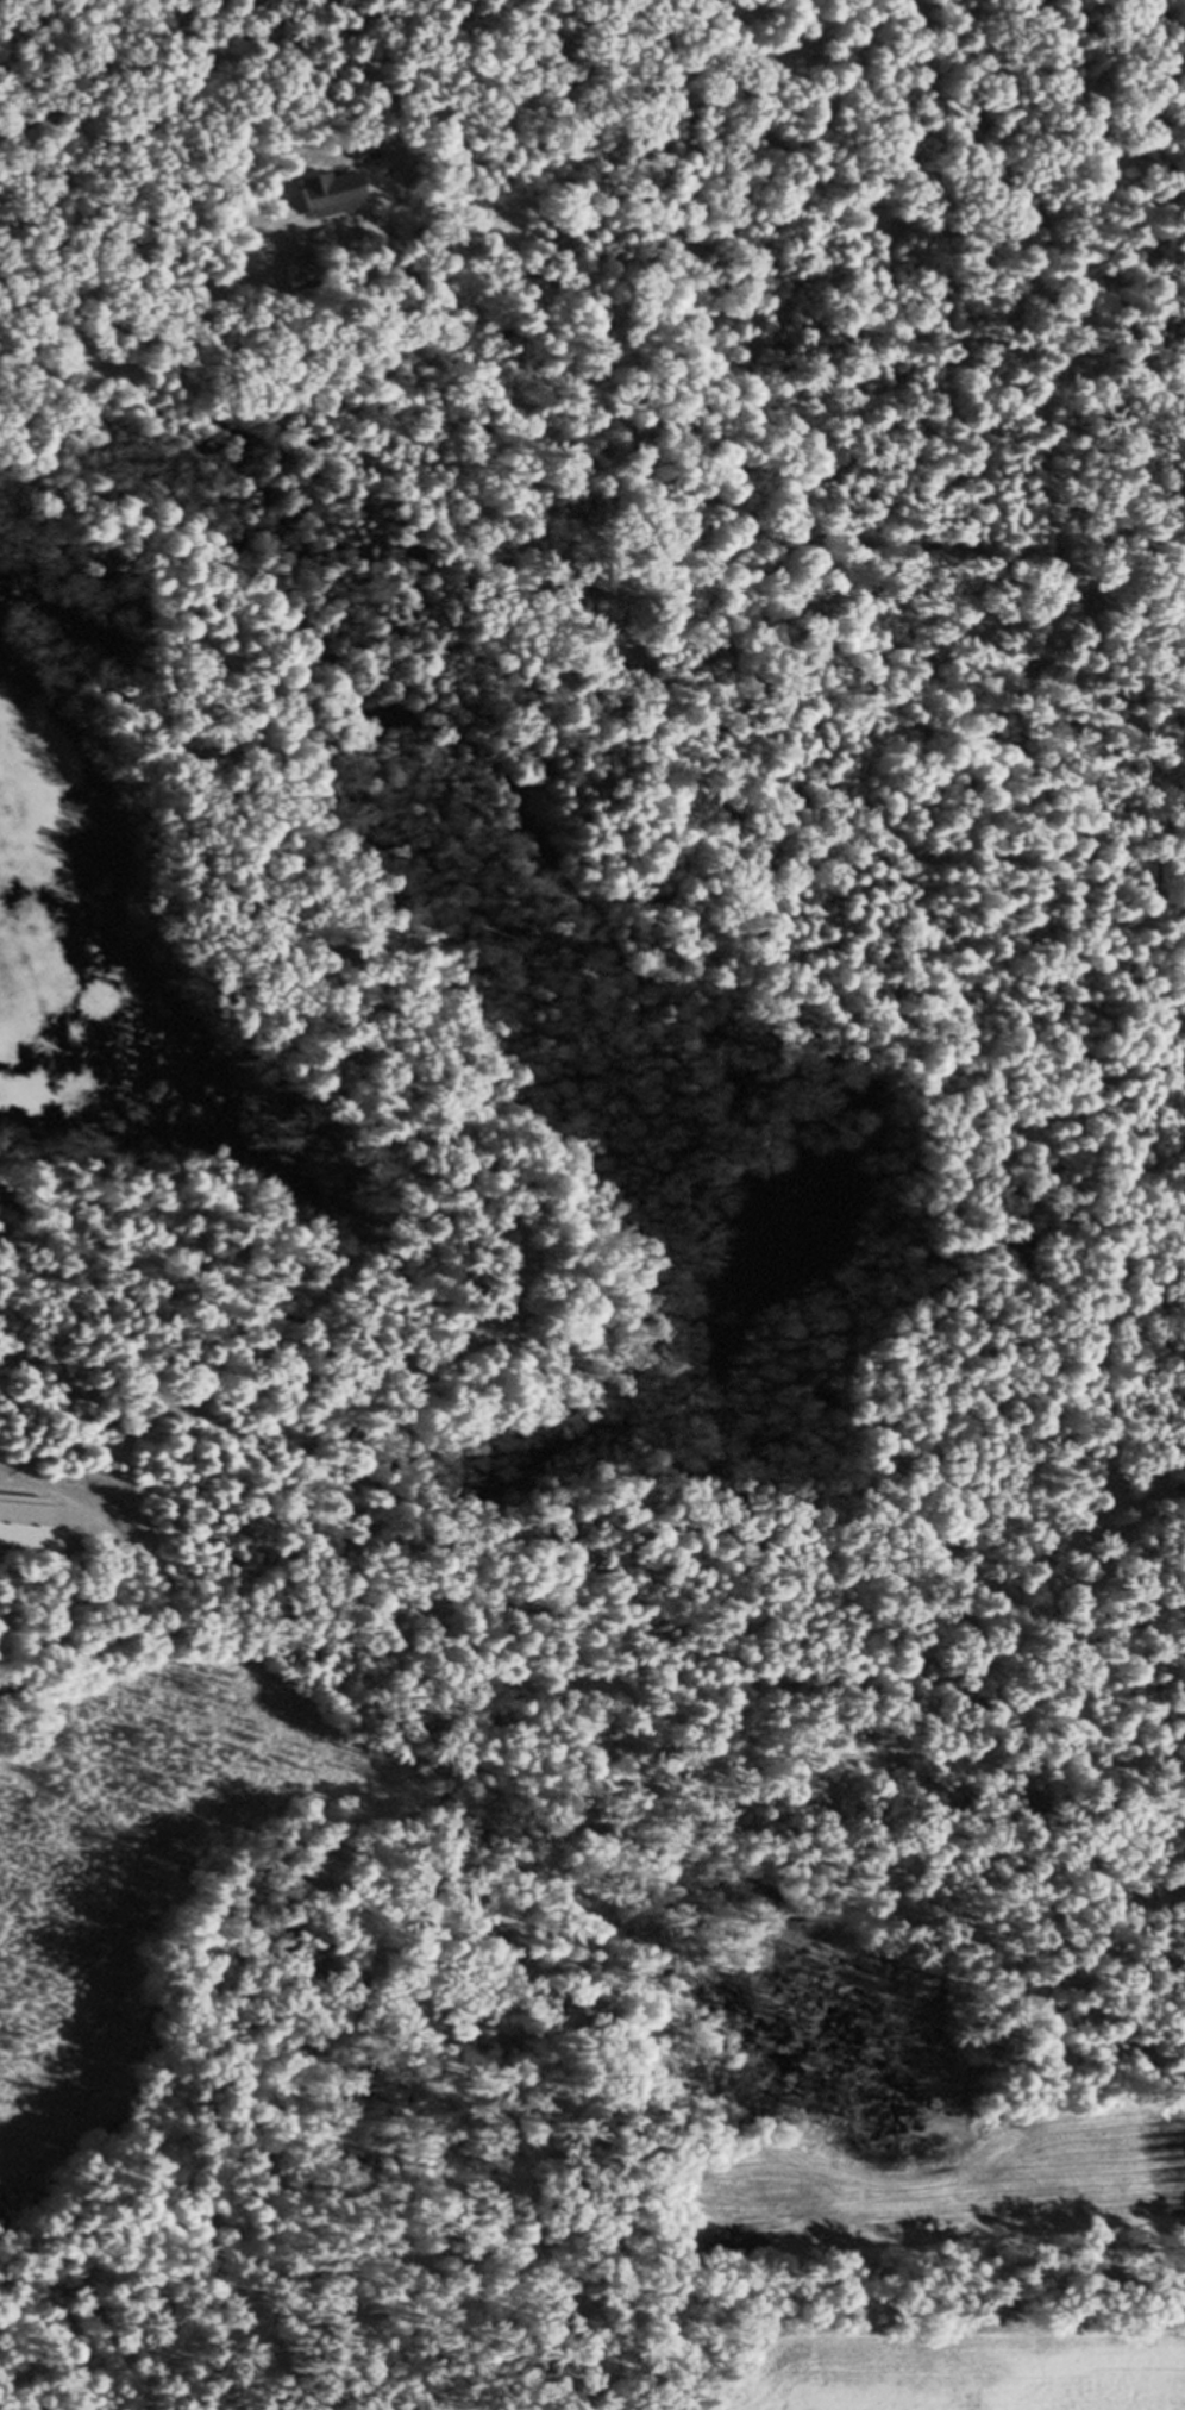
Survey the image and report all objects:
building: (244, 2)
building: (325, 194)
building: (294, 275)
road: (167, 357)
building: (26, 1525)

